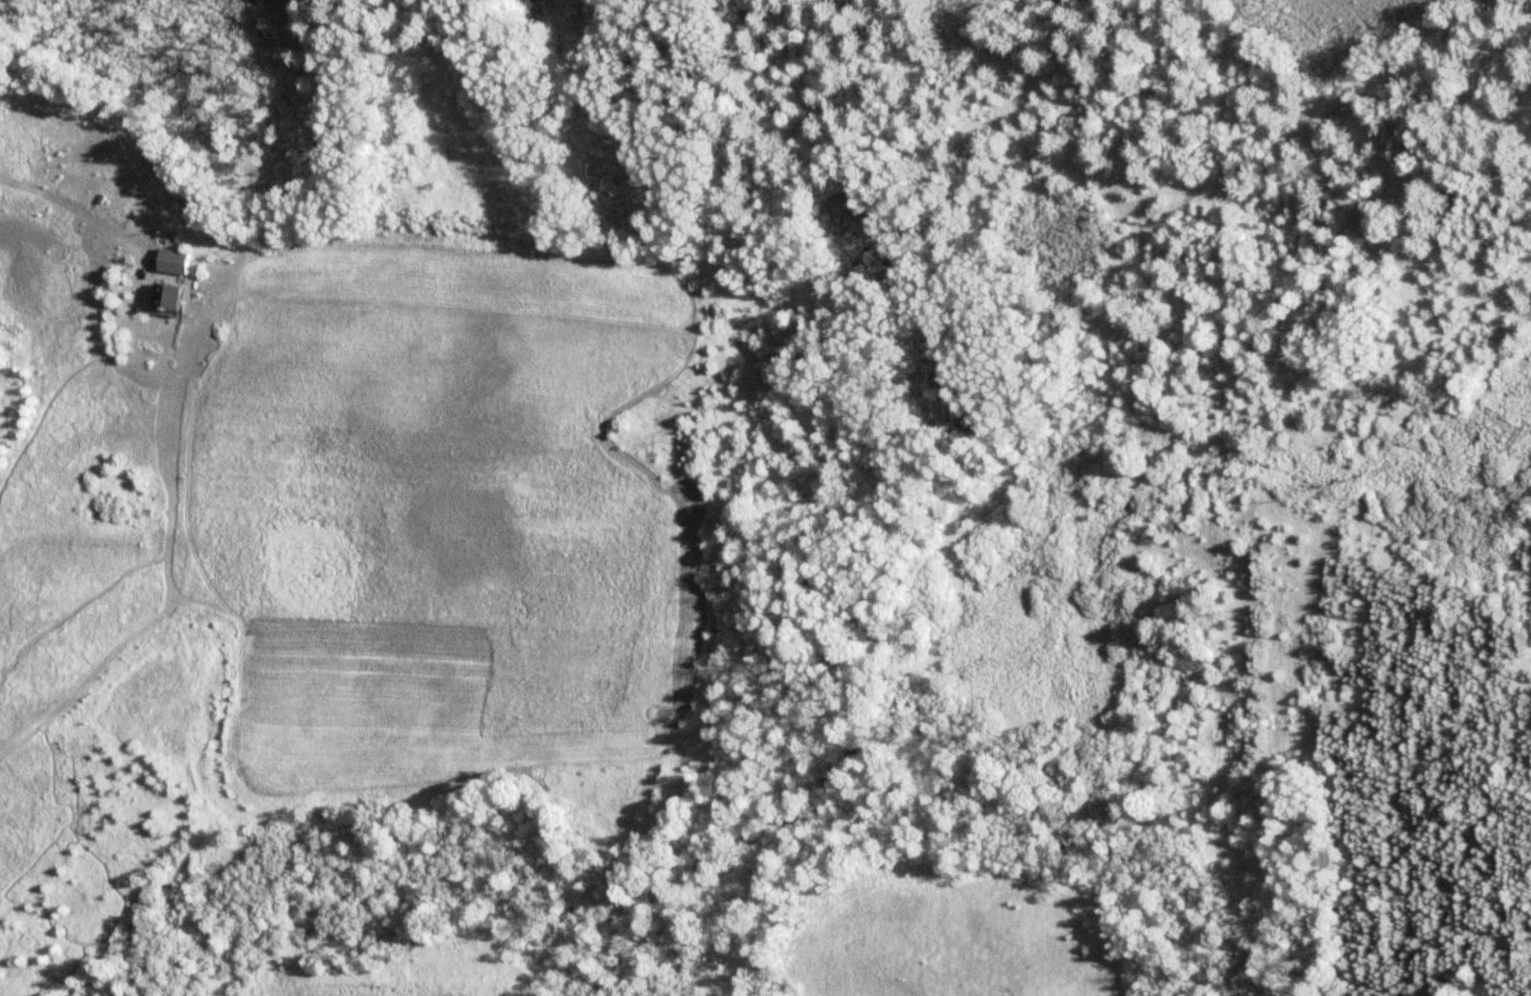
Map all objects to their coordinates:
building: (175, 298)

